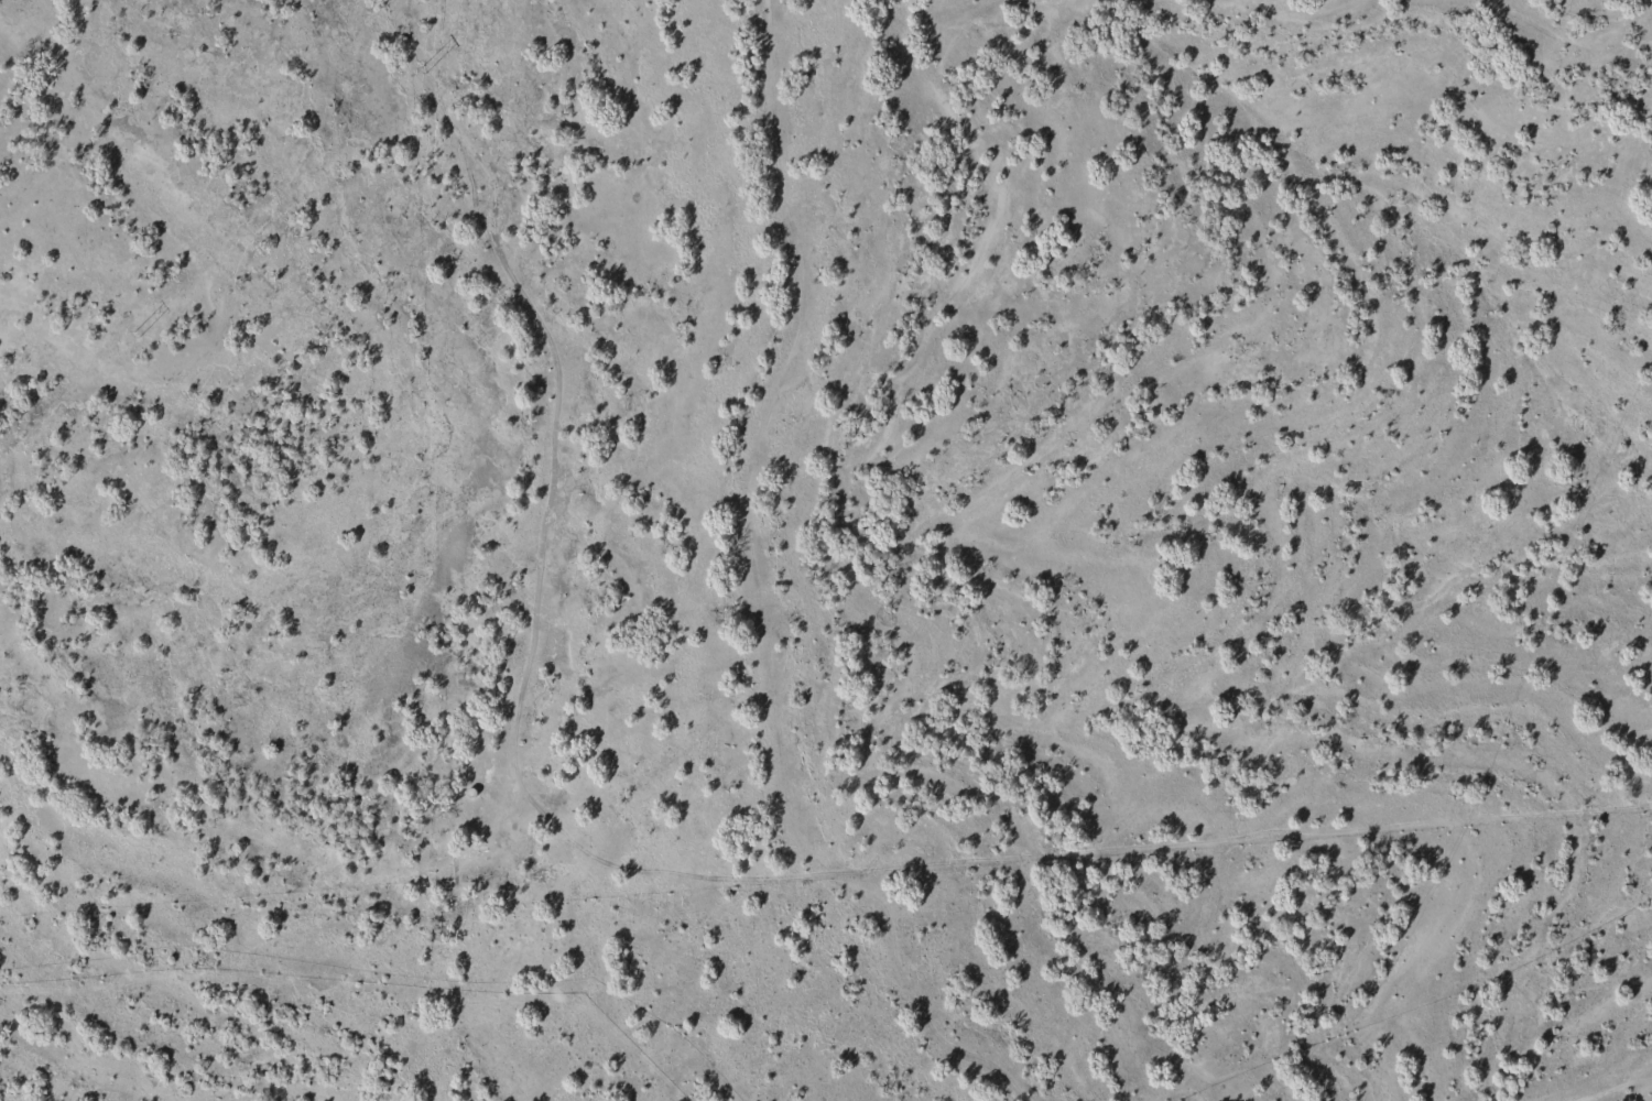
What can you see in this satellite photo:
power tower: (423, 72)
power tower: (137, 336)
road: (795, 791)

